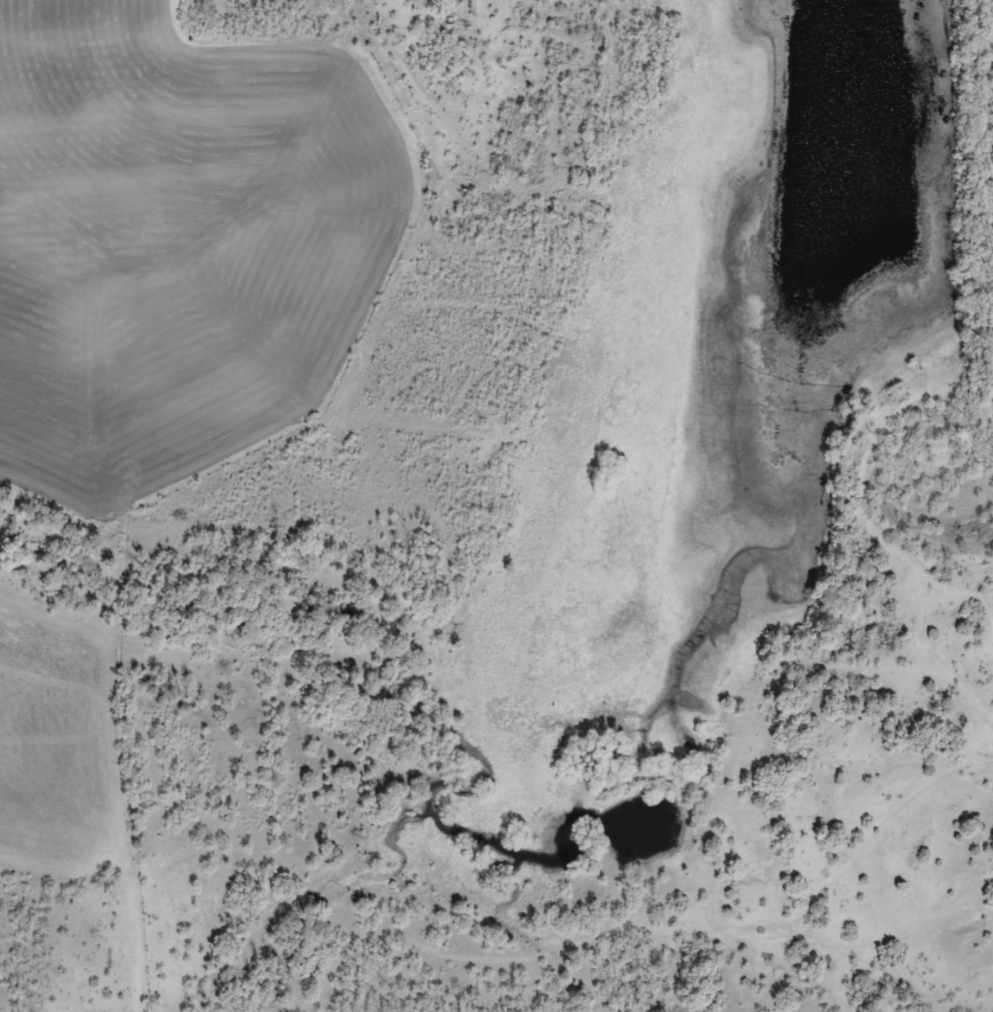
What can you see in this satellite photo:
road: (986, 594)

